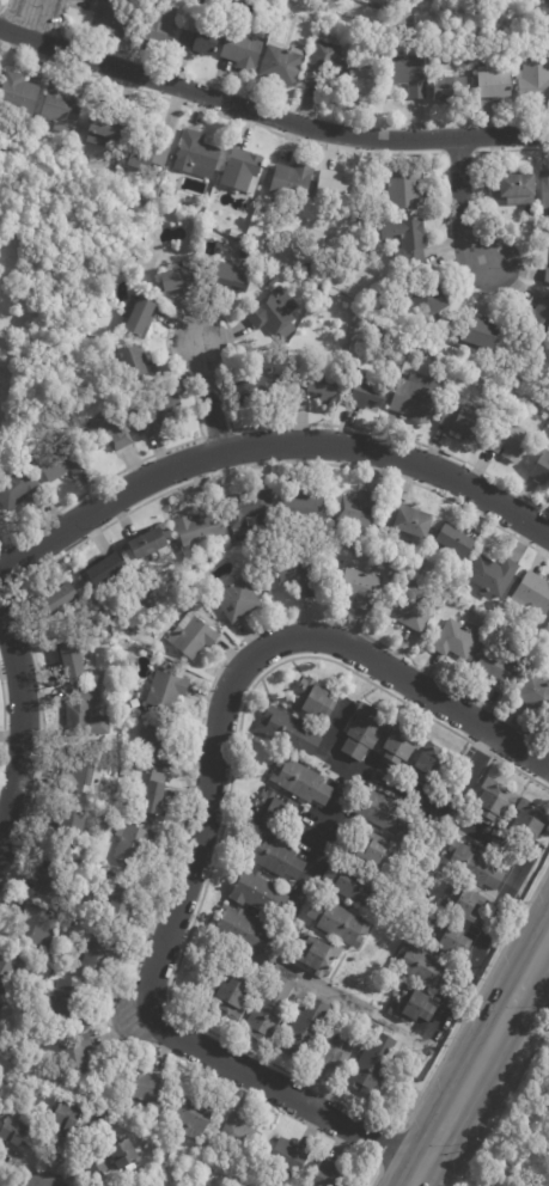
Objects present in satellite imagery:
building: (111, 18)
road: (29, 19)
building: (281, 20)
building: (159, 24)
building: (200, 41)
building: (242, 49)
building: (324, 62)
building: (281, 65)
building: (409, 74)
building: (533, 80)
building: (495, 81)
building: (361, 82)
building: (450, 87)
building: (18, 92)
building: (60, 106)
road: (269, 115)
building: (106, 127)
road: (264, 127)
road: (510, 149)
road: (457, 154)
building: (148, 155)
building: (196, 155)
building: (242, 171)
building: (291, 182)
building: (331, 185)
building: (513, 187)
building: (544, 189)
building: (404, 190)
road: (459, 203)
building: (230, 233)
building: (405, 243)
building: (307, 263)
building: (233, 276)
building: (547, 277)
building: (179, 280)
building: (422, 299)
building: (274, 311)
building: (140, 316)
building: (536, 325)
road: (230, 334)
building: (478, 337)
building: (421, 354)
building: (134, 362)
building: (376, 365)
building: (321, 383)
building: (262, 391)
building: (367, 393)
road: (208, 396)
building: (415, 398)
building: (498, 399)
building: (160, 414)
building: (463, 420)
building: (109, 433)
road: (215, 433)
building: (510, 439)
road: (268, 444)
building: (60, 460)
building: (541, 469)
building: (18, 489)
building: (298, 508)
building: (358, 511)
building: (251, 513)
road: (124, 514)
building: (408, 521)
building: (199, 530)
building: (455, 543)
building: (147, 545)
road: (7, 571)
building: (104, 571)
building: (493, 575)
building: (298, 576)
building: (451, 582)
building: (360, 588)
building: (444, 594)
building: (532, 597)
building: (59, 601)
building: (237, 601)
building: (146, 611)
building: (413, 611)
building: (191, 637)
building: (455, 641)
building: (69, 658)
building: (498, 667)
building: (166, 690)
building: (536, 696)
building: (313, 703)
building: (86, 713)
road: (1, 725)
road: (22, 725)
building: (365, 729)
building: (287, 730)
road: (328, 739)
building: (401, 745)
building: (158, 747)
road: (480, 748)
building: (431, 764)
road: (520, 771)
road: (469, 772)
building: (83, 774)
building: (300, 781)
building: (154, 797)
building: (493, 802)
road: (225, 803)
building: (272, 811)
building: (385, 813)
building: (68, 821)
building: (527, 821)
road: (200, 826)
road: (182, 827)
building: (130, 843)
building: (379, 851)
building: (275, 857)
building: (472, 866)
building: (50, 881)
building: (354, 885)
building: (255, 892)
building: (463, 903)
building: (116, 907)
building: (338, 922)
building: (37, 927)
building: (242, 929)
building: (447, 937)
building: (97, 952)
building: (318, 955)
building: (423, 967)
building: (7, 970)
building: (231, 997)
building: (66, 999)
building: (411, 1004)
road: (531, 1004)
building: (0, 1007)
building: (269, 1013)
building: (305, 1029)
road: (456, 1033)
road: (427, 1040)
building: (75, 1052)
road: (477, 1056)
road: (333, 1057)
building: (372, 1065)
building: (145, 1086)
road: (319, 1088)
building: (191, 1117)
building: (65, 1124)
building: (12, 1132)
building: (239, 1133)
road: (388, 1148)
building: (123, 1154)
building: (289, 1159)
building: (96, 1164)
building: (329, 1176)

